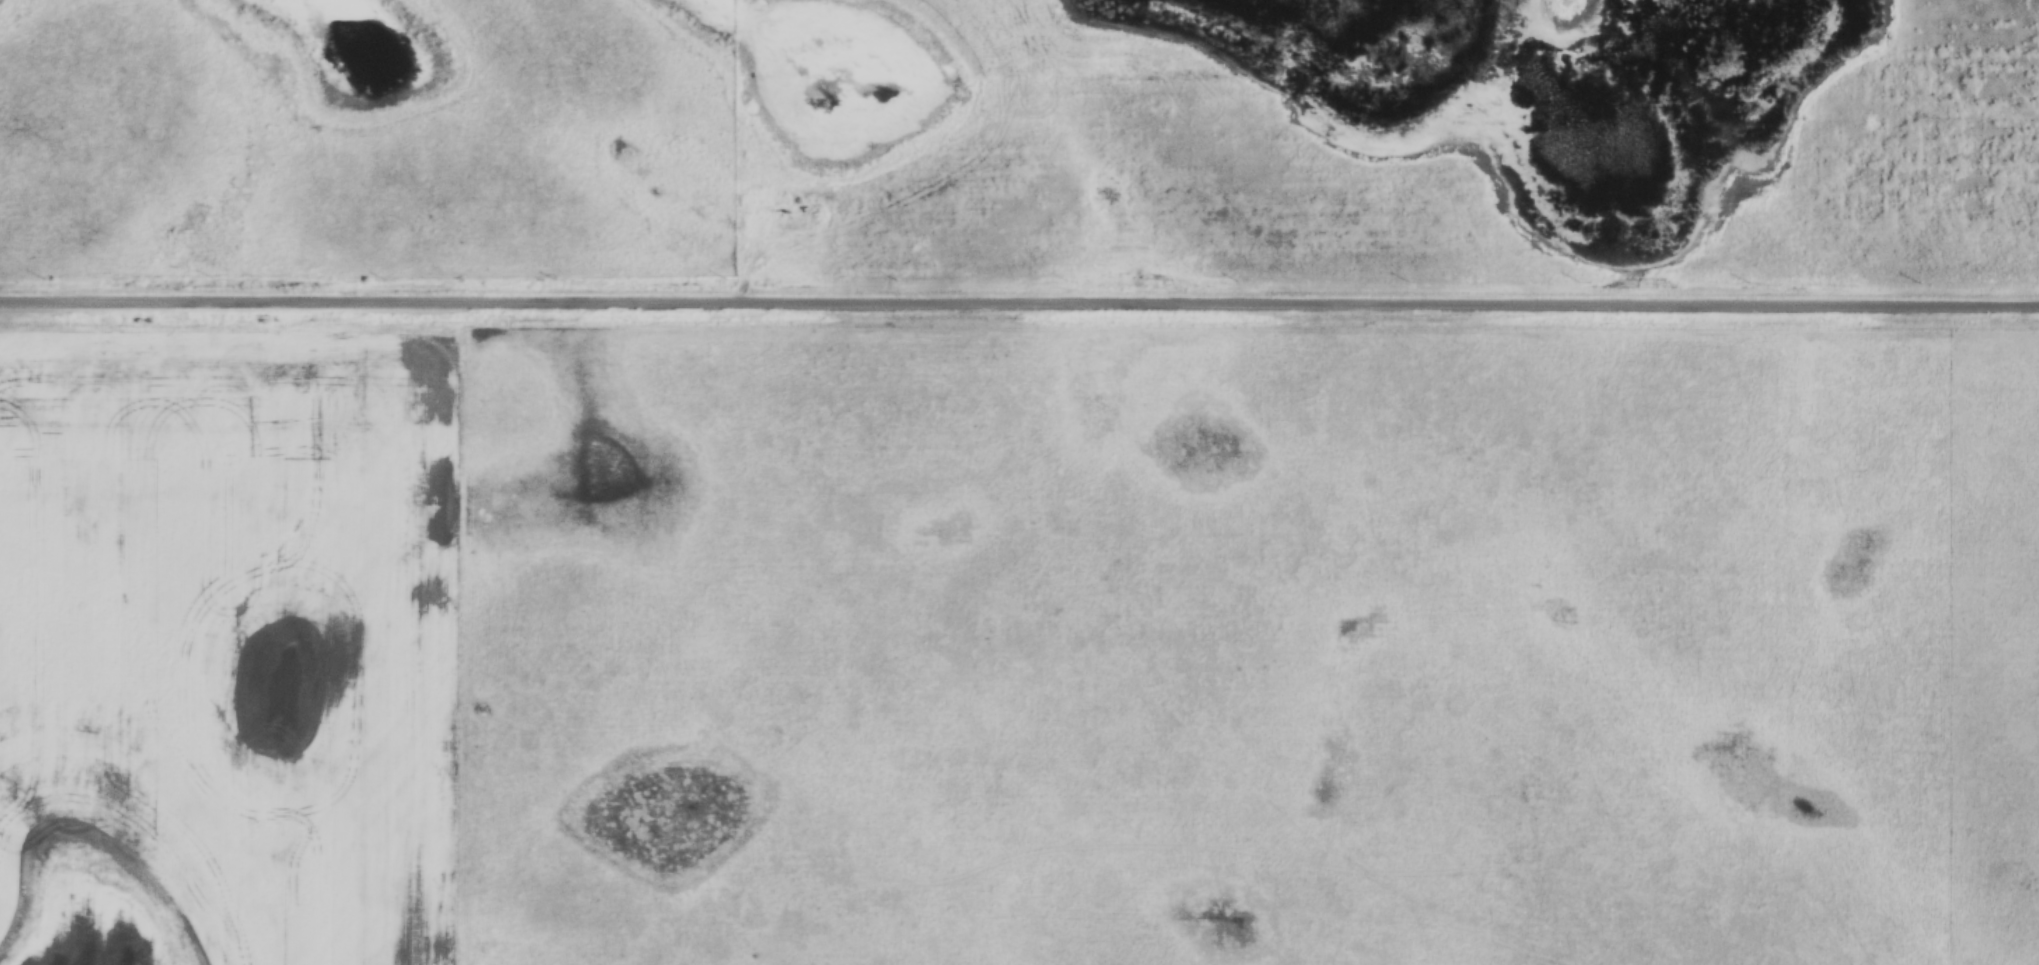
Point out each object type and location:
road: (1019, 305)

